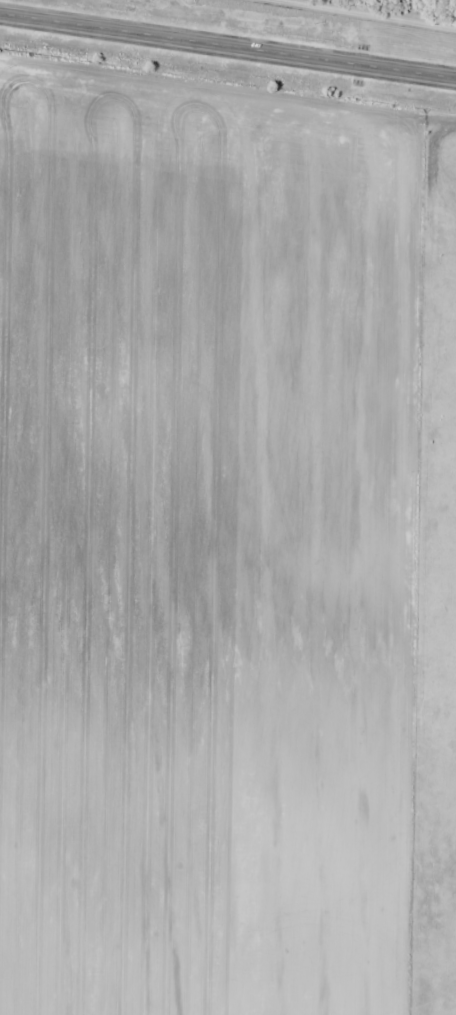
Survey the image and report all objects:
road: (228, 45)

